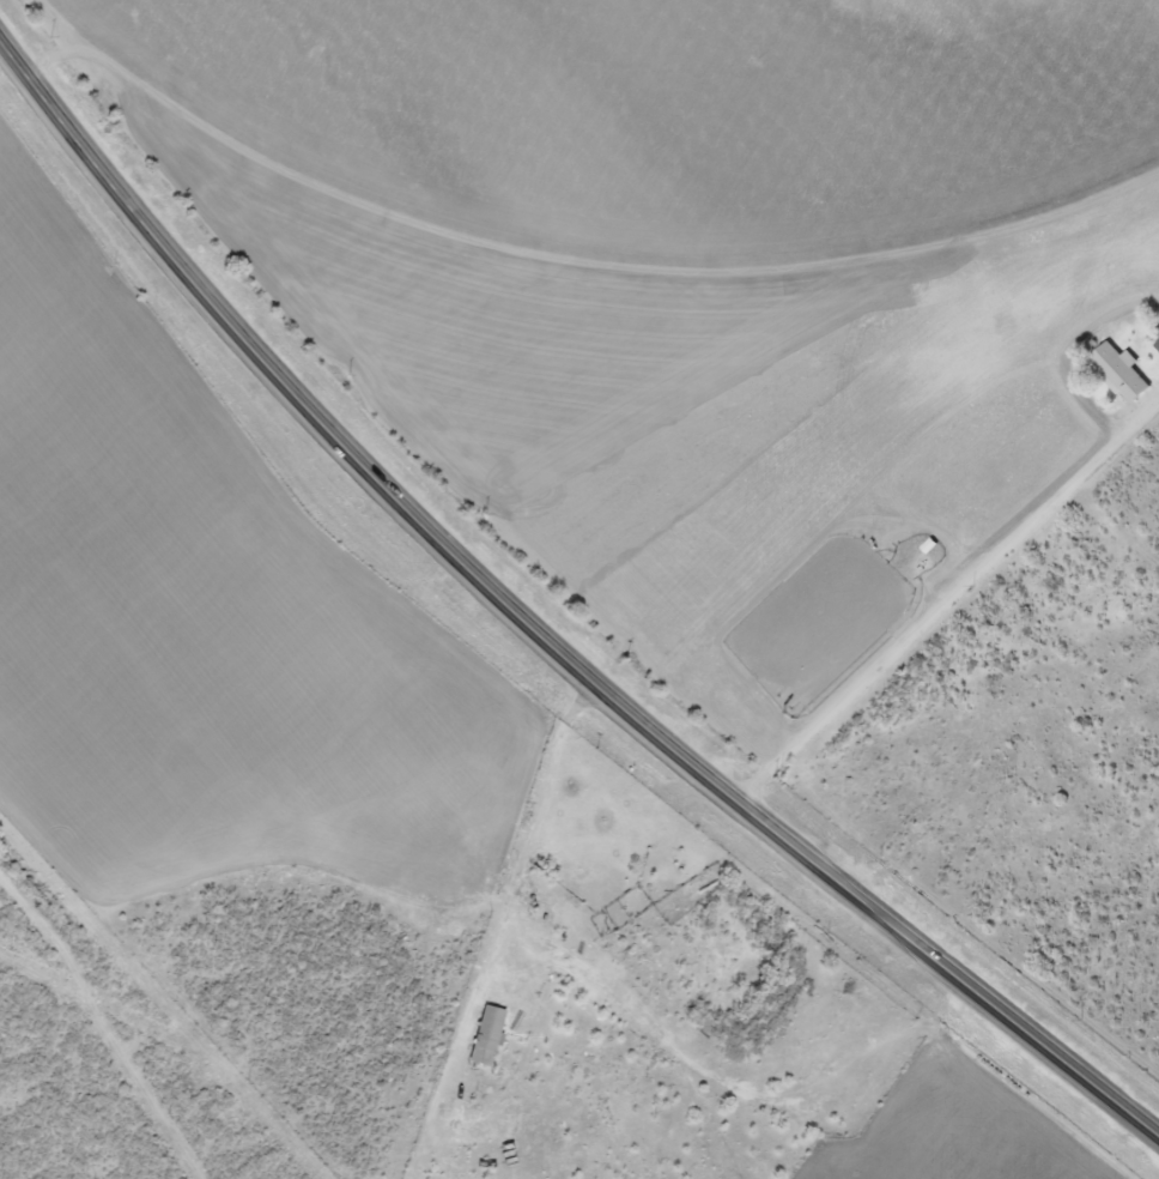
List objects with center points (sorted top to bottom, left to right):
building: (1118, 374)
railway: (563, 584)
road: (535, 633)
road: (104, 1016)
building: (484, 1038)

